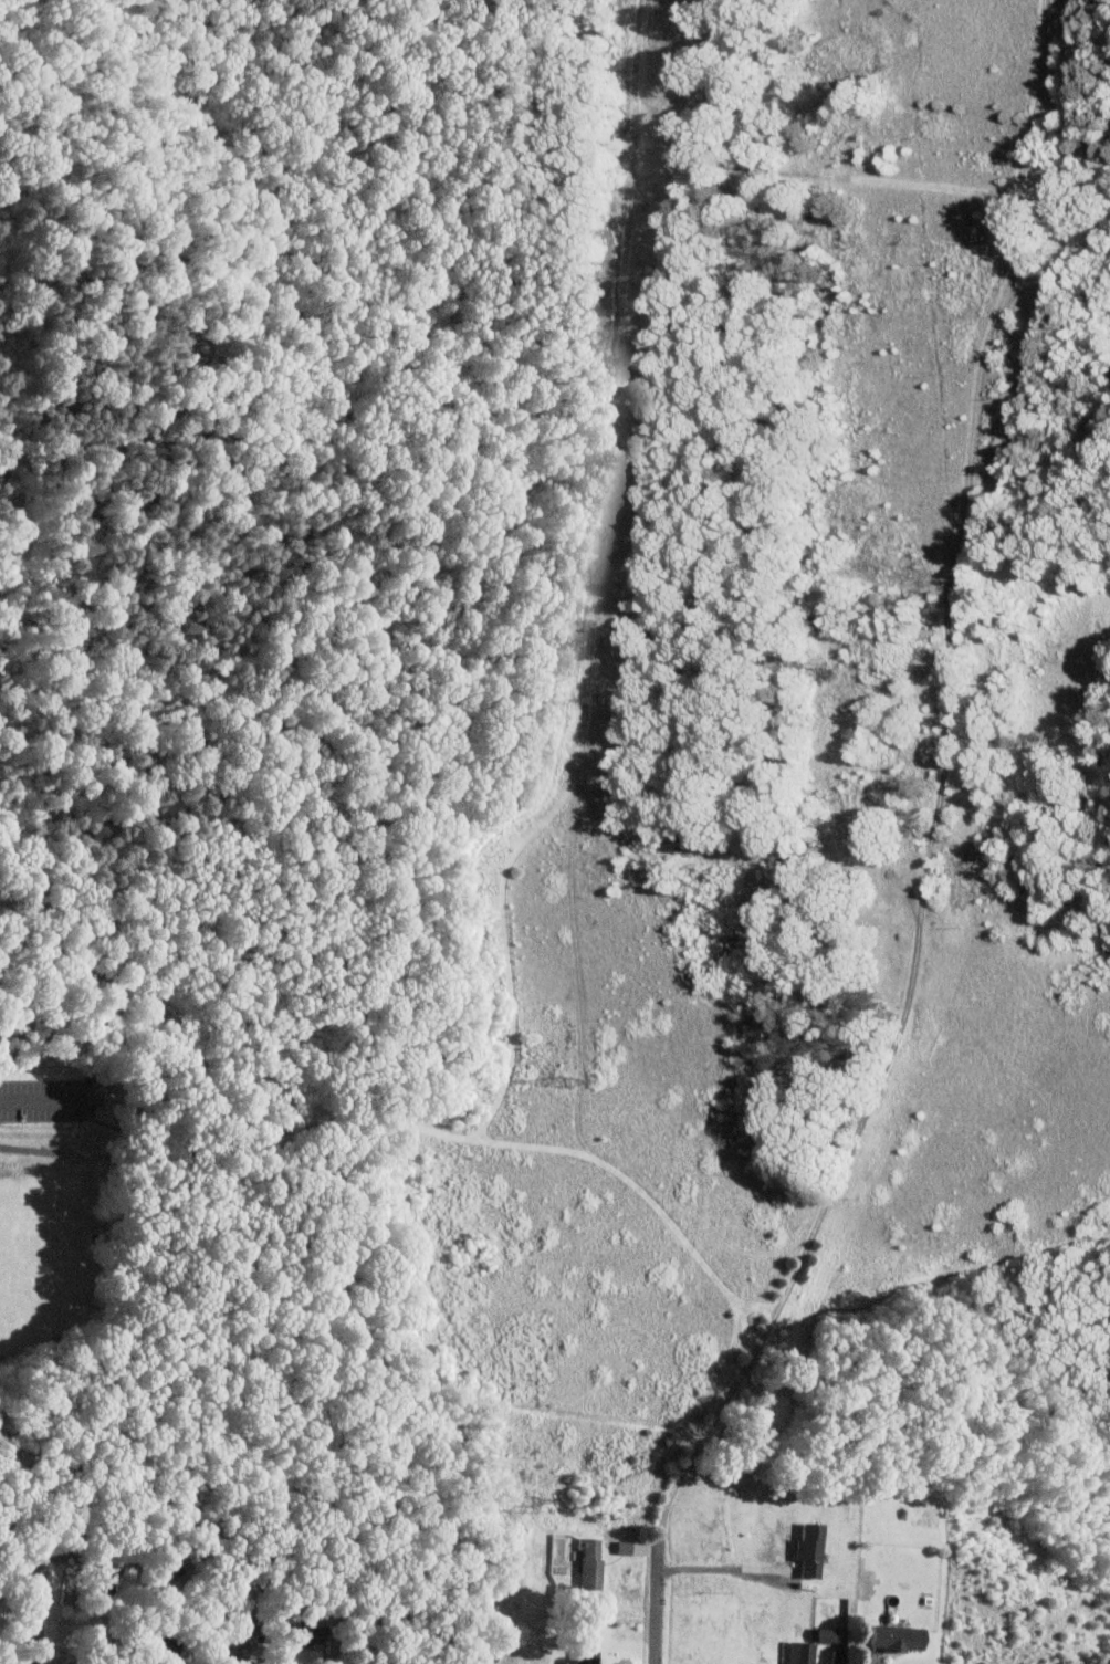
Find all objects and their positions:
road: (832, 176)
power tower: (637, 278)
road: (265, 608)
power tower: (599, 700)
park: (561, 762)
road: (938, 789)
power tower: (567, 1081)
parking lot: (42, 1099)
road: (42, 1099)
road: (98, 1120)
road: (477, 1137)
road: (54, 1151)
power tower: (527, 1500)
building: (620, 1547)
building: (806, 1549)
building: (587, 1563)
road: (713, 1568)
building: (113, 1578)
road: (42, 1585)
road: (366, 1590)
road: (657, 1598)
building: (825, 1635)
building: (893, 1637)
building: (240, 1647)
building: (796, 1653)
building: (478, 1657)
building: (580, 1657)

